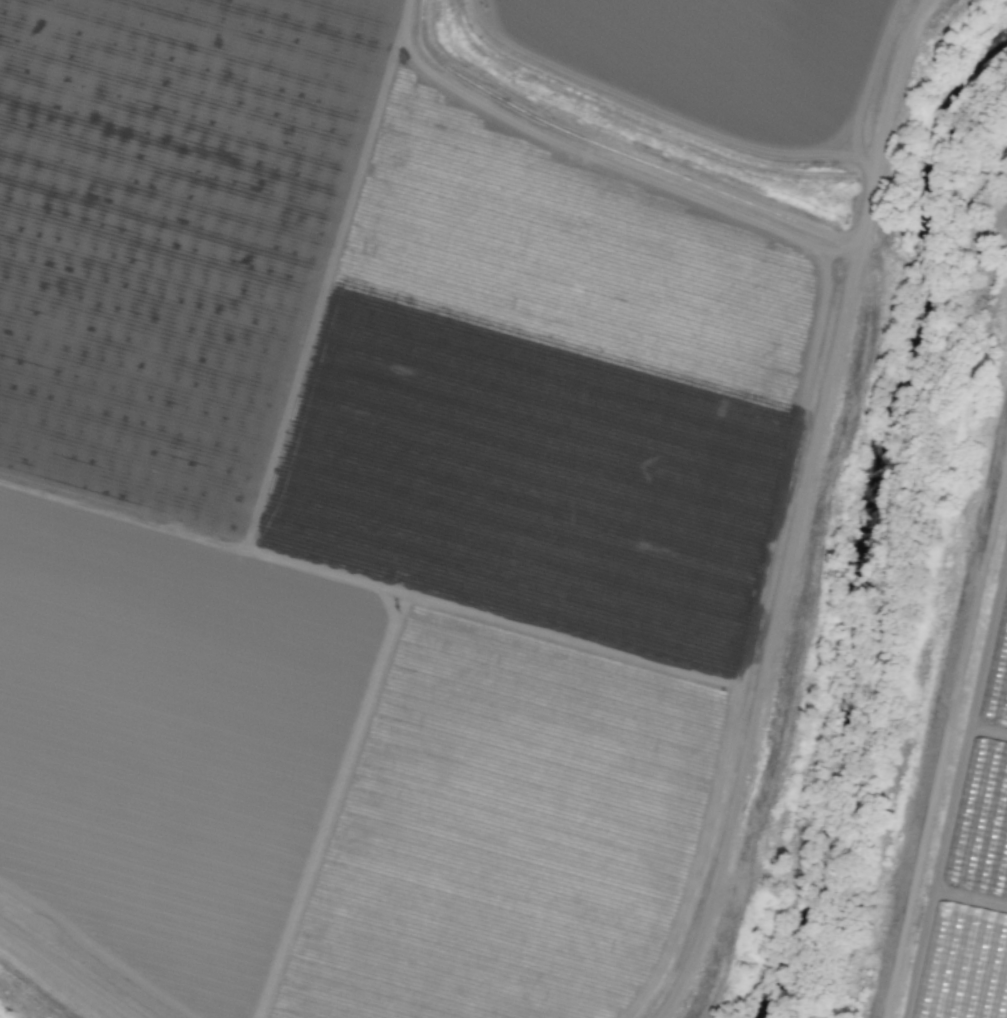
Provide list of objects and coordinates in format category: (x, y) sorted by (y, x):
crop: (782, 9)
crop: (995, 11)
river: (978, 204)
crop: (445, 444)
river: (871, 648)
crop: (970, 862)

